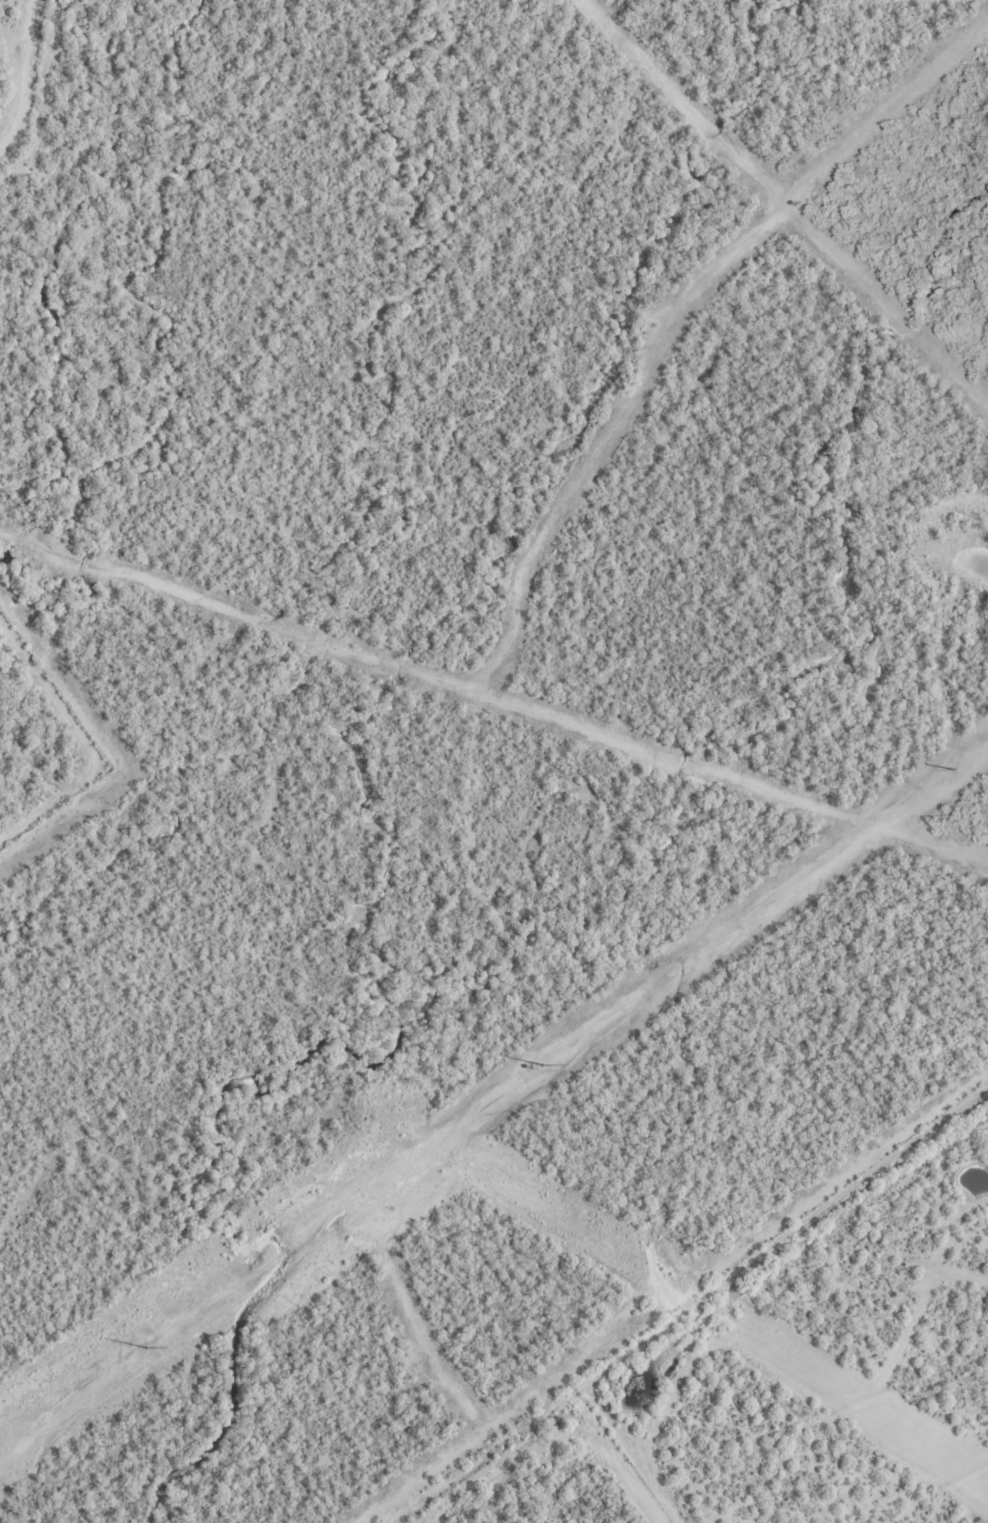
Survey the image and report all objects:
power tower: (956, 770)
power tower: (544, 1065)
power tower: (147, 1348)

